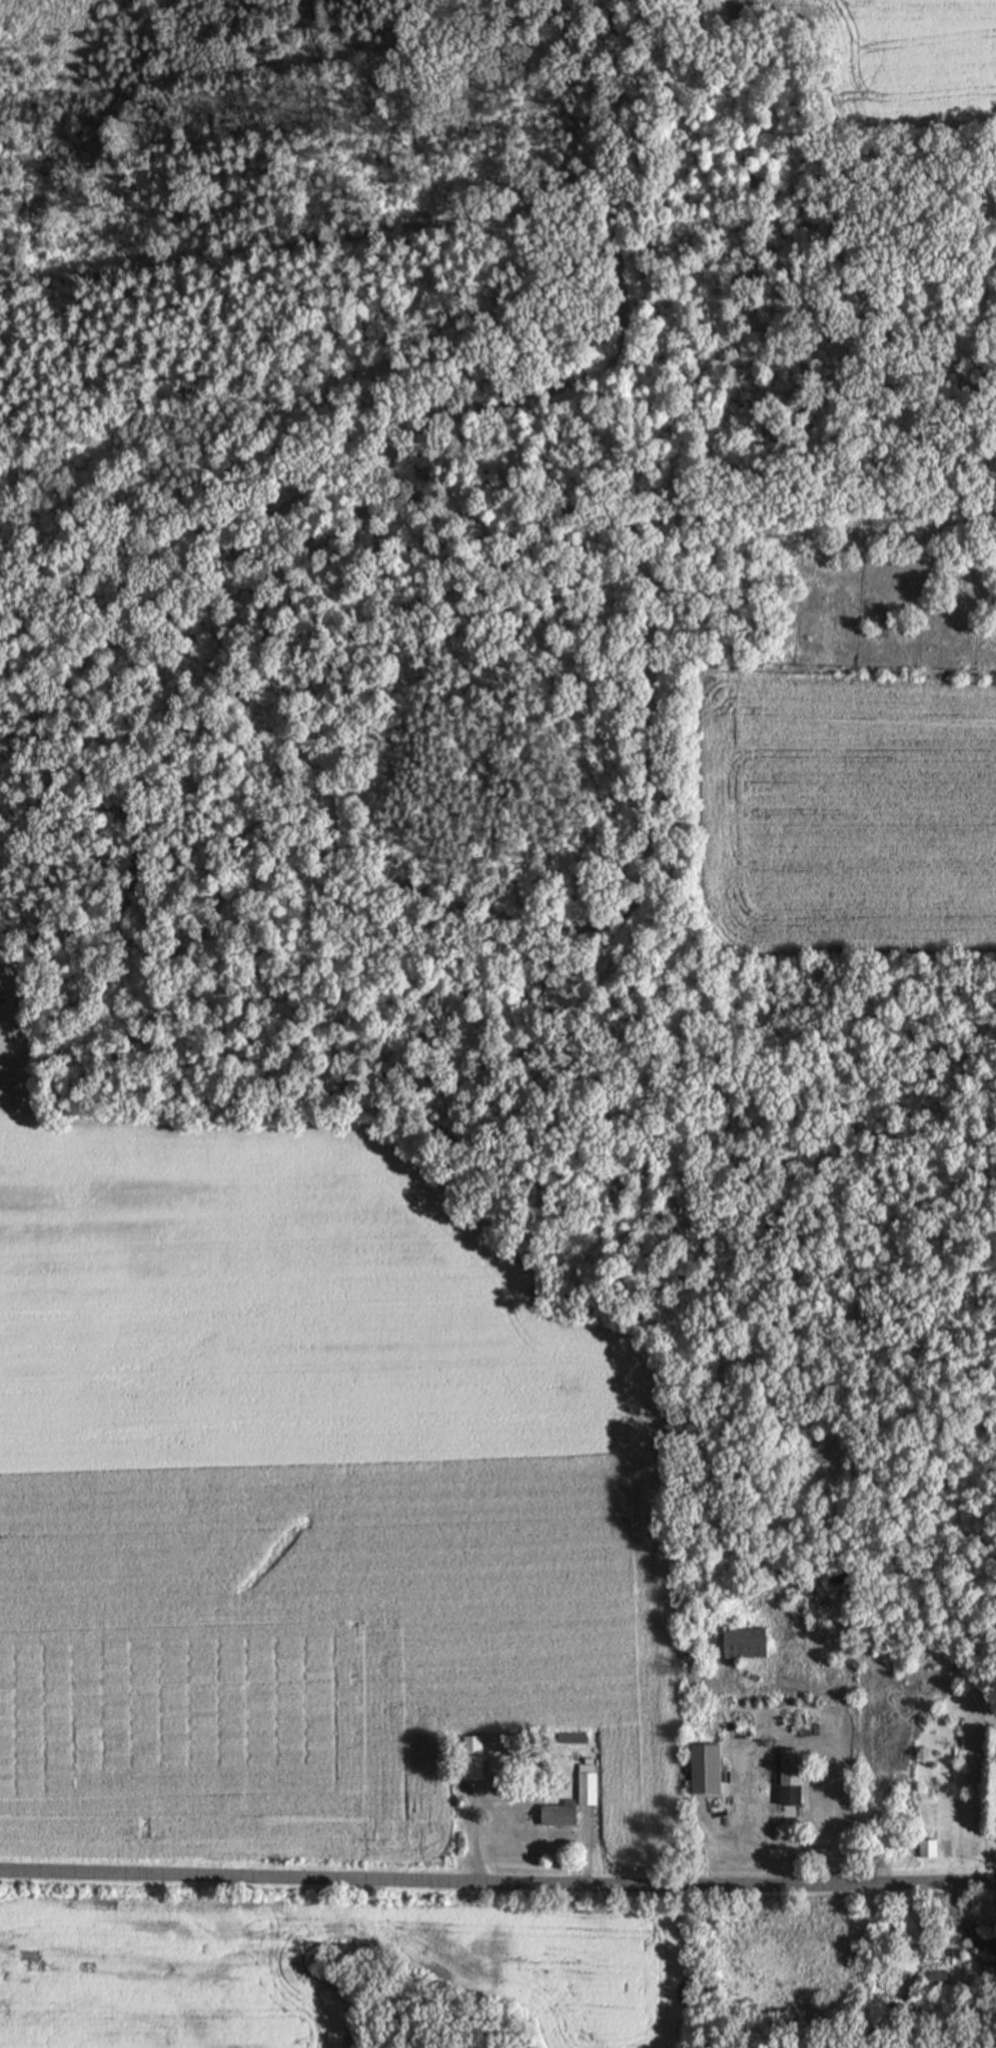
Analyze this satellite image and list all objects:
building: (742, 1643)
building: (470, 1757)
building: (703, 1768)
building: (788, 1777)
building: (585, 1783)
building: (556, 1814)
building: (926, 1848)
road: (497, 1883)
building: (982, 1947)
building: (936, 1979)

